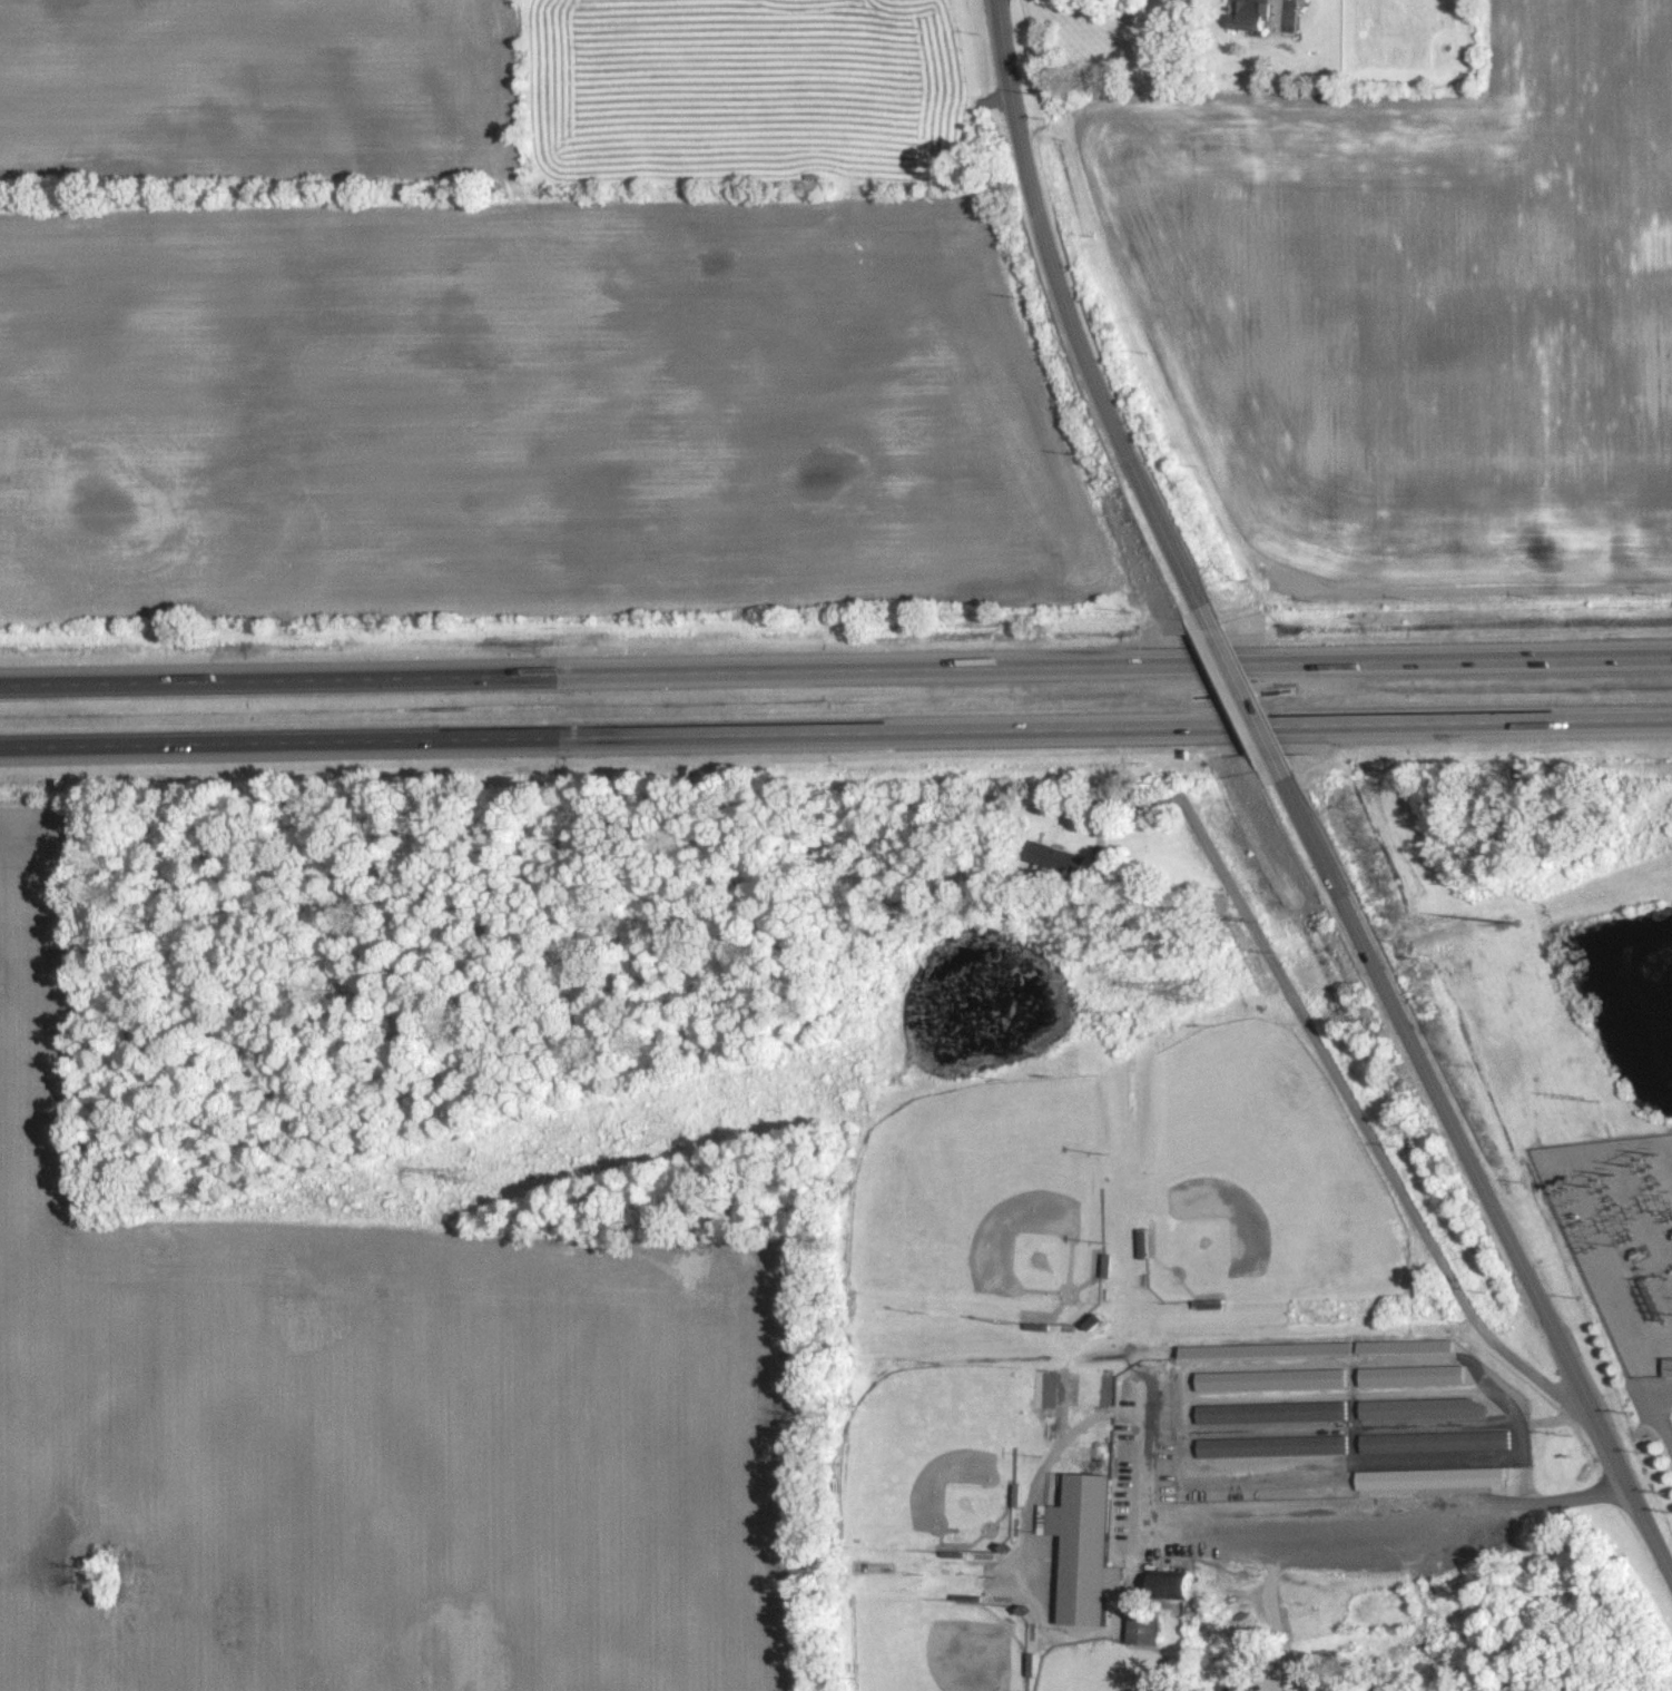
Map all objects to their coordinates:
building: (1253, 14)
road: (1072, 317)
road: (836, 670)
road: (1246, 695)
road: (836, 733)
building: (1069, 856)
power tower: (1191, 991)
road: (1381, 1154)
park: (1258, 1172)
road: (1478, 1174)
power tower: (466, 1177)
park: (983, 1203)
power substation: (1621, 1236)
building: (1403, 1345)
building: (1263, 1348)
building: (1668, 1366)
road: (1648, 1374)
building: (1409, 1375)
building: (1269, 1379)
building: (1420, 1407)
building: (1270, 1412)
building: (1434, 1441)
building: (1271, 1446)
park: (931, 1459)
building: (1434, 1479)
road: (1351, 1527)
building: (1083, 1549)
road: (1129, 1576)
building: (1182, 1587)
road: (1265, 1600)
building: (1145, 1630)
park: (938, 1645)
park: (1102, 1668)

